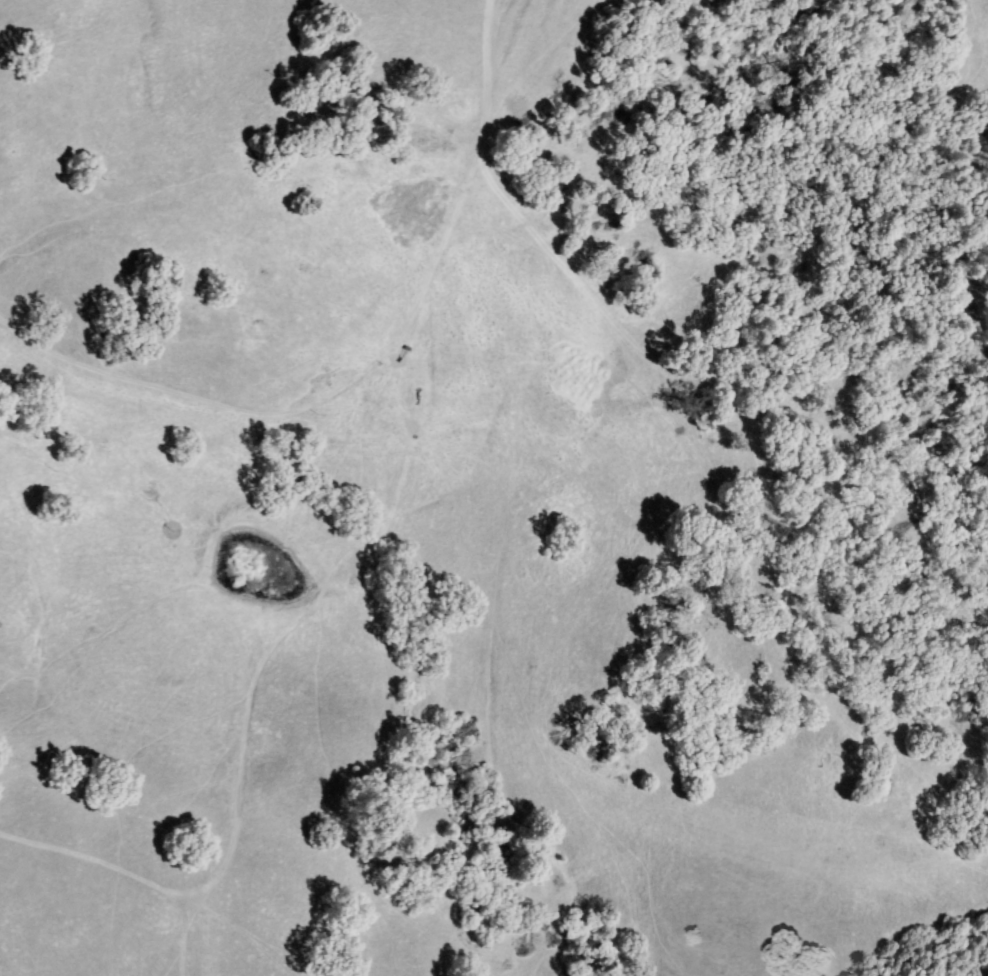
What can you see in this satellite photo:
road: (538, 57)
road: (379, 384)

